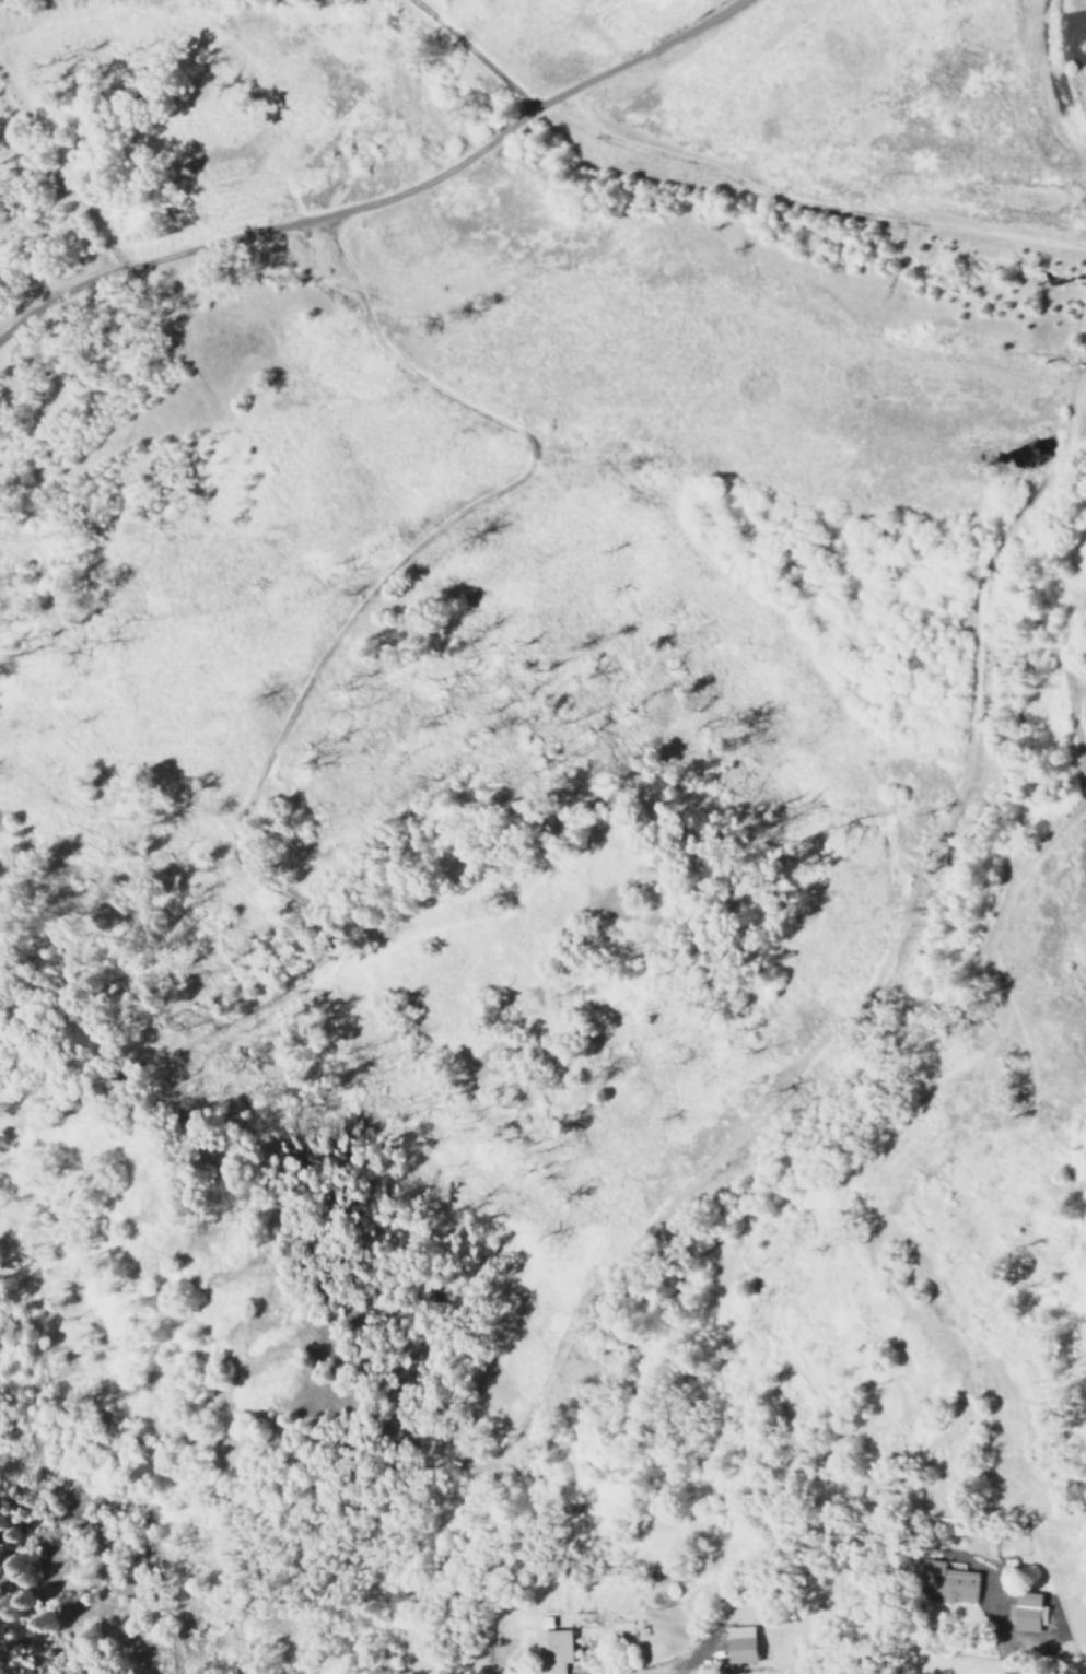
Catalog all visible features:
road: (476, 54)
road: (382, 201)
road: (295, 704)
building: (945, 1582)
building: (1026, 1612)
road: (1000, 1625)
building: (737, 1644)
building: (550, 1648)

